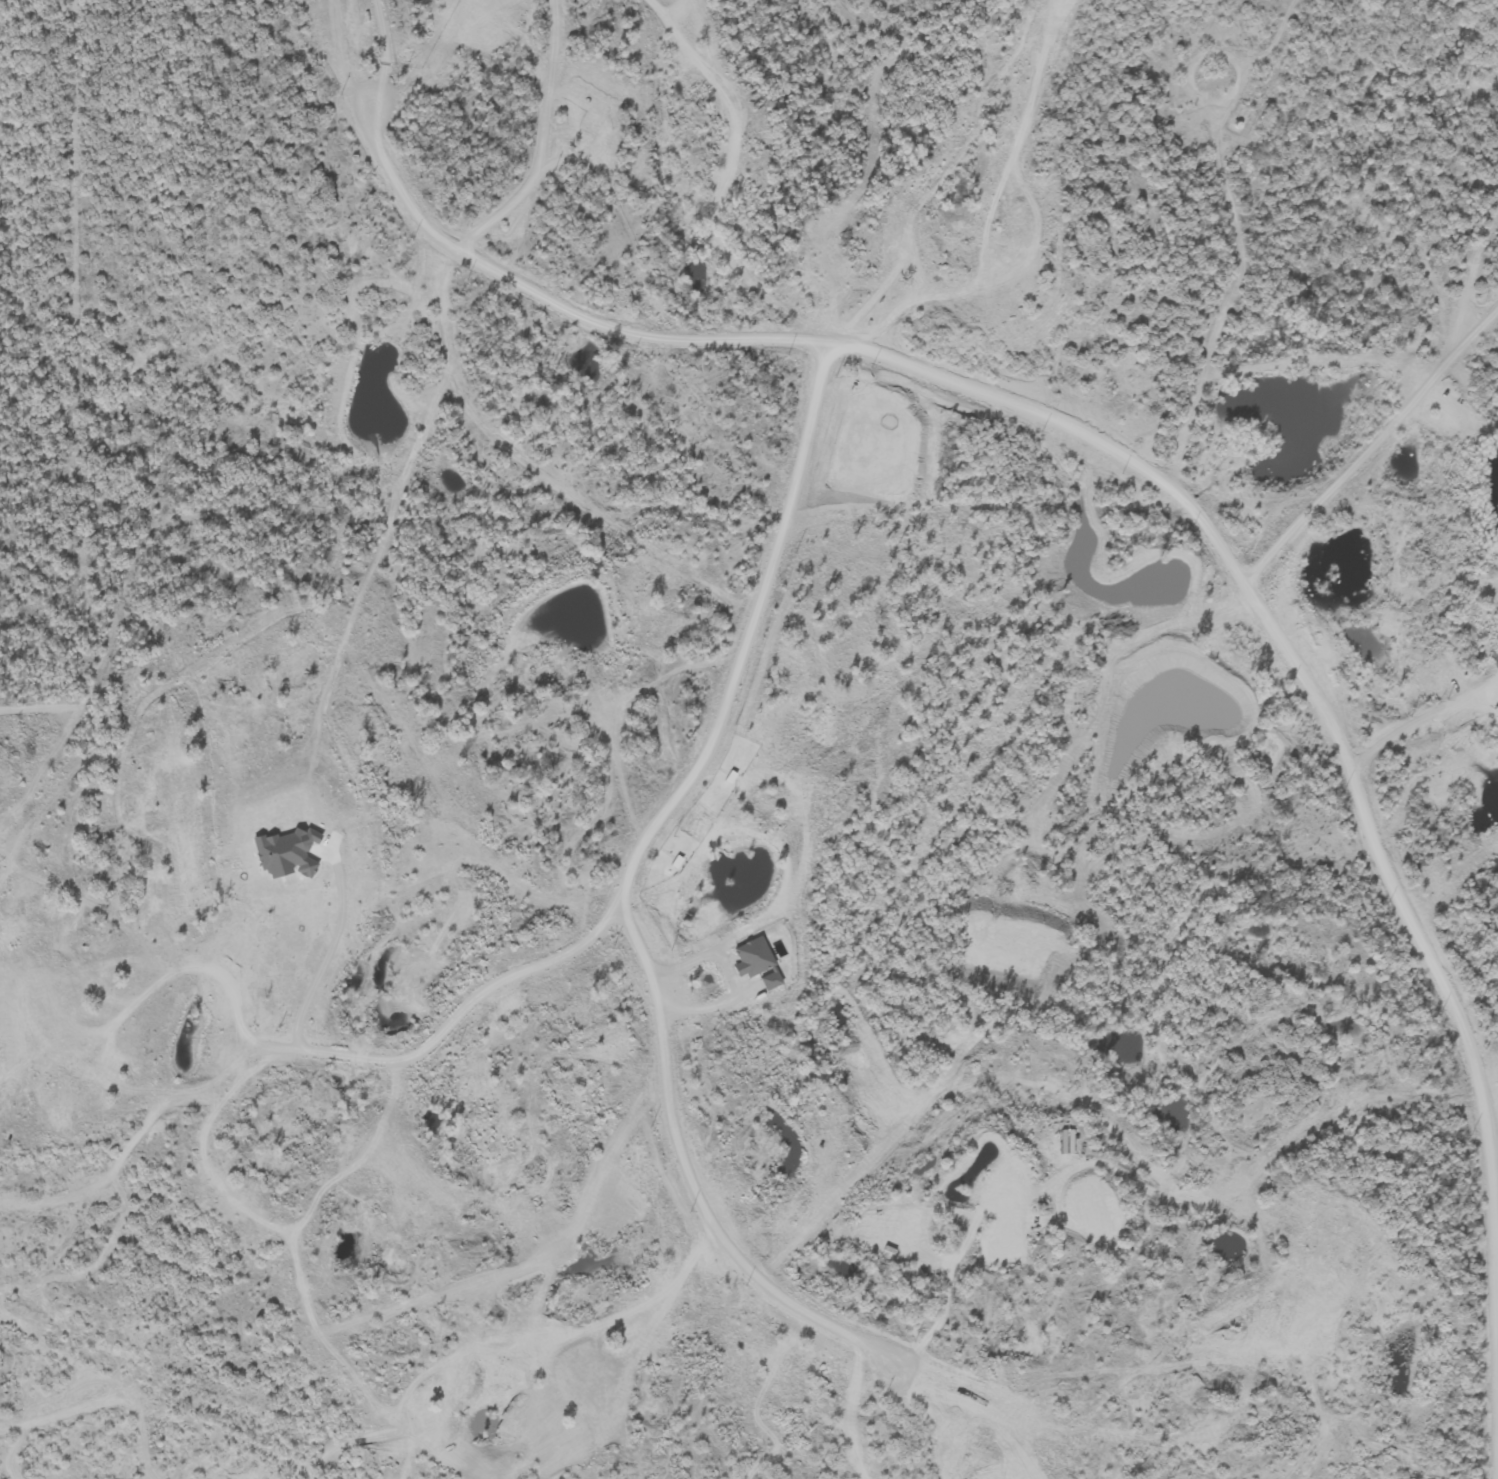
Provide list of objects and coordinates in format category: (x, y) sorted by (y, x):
road: (384, 52)
road: (1372, 448)
road: (1124, 455)
road: (625, 893)
road: (733, 977)
road: (387, 1066)

